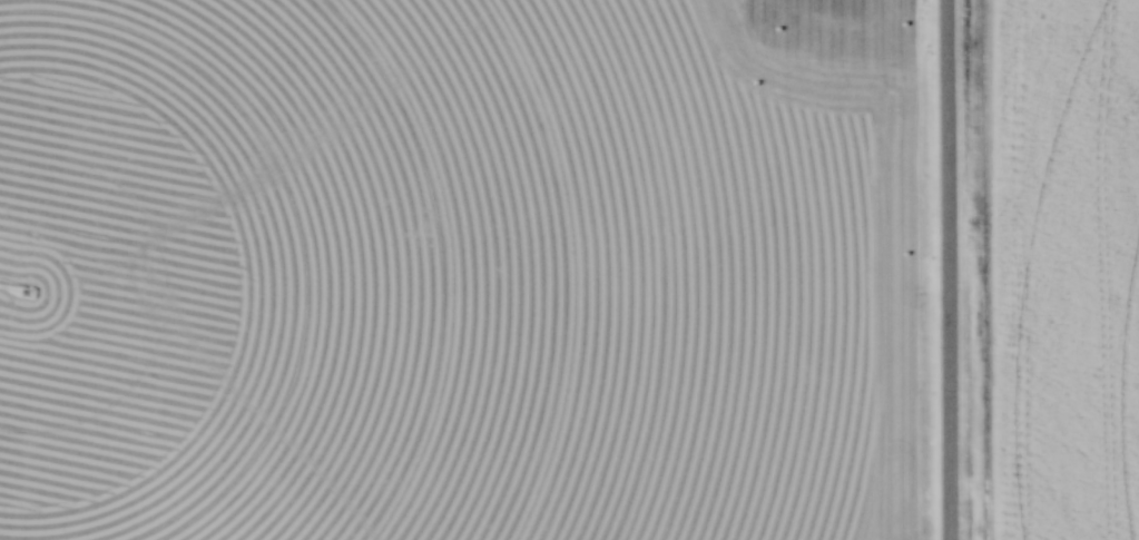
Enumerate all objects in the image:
road: (952, 269)

